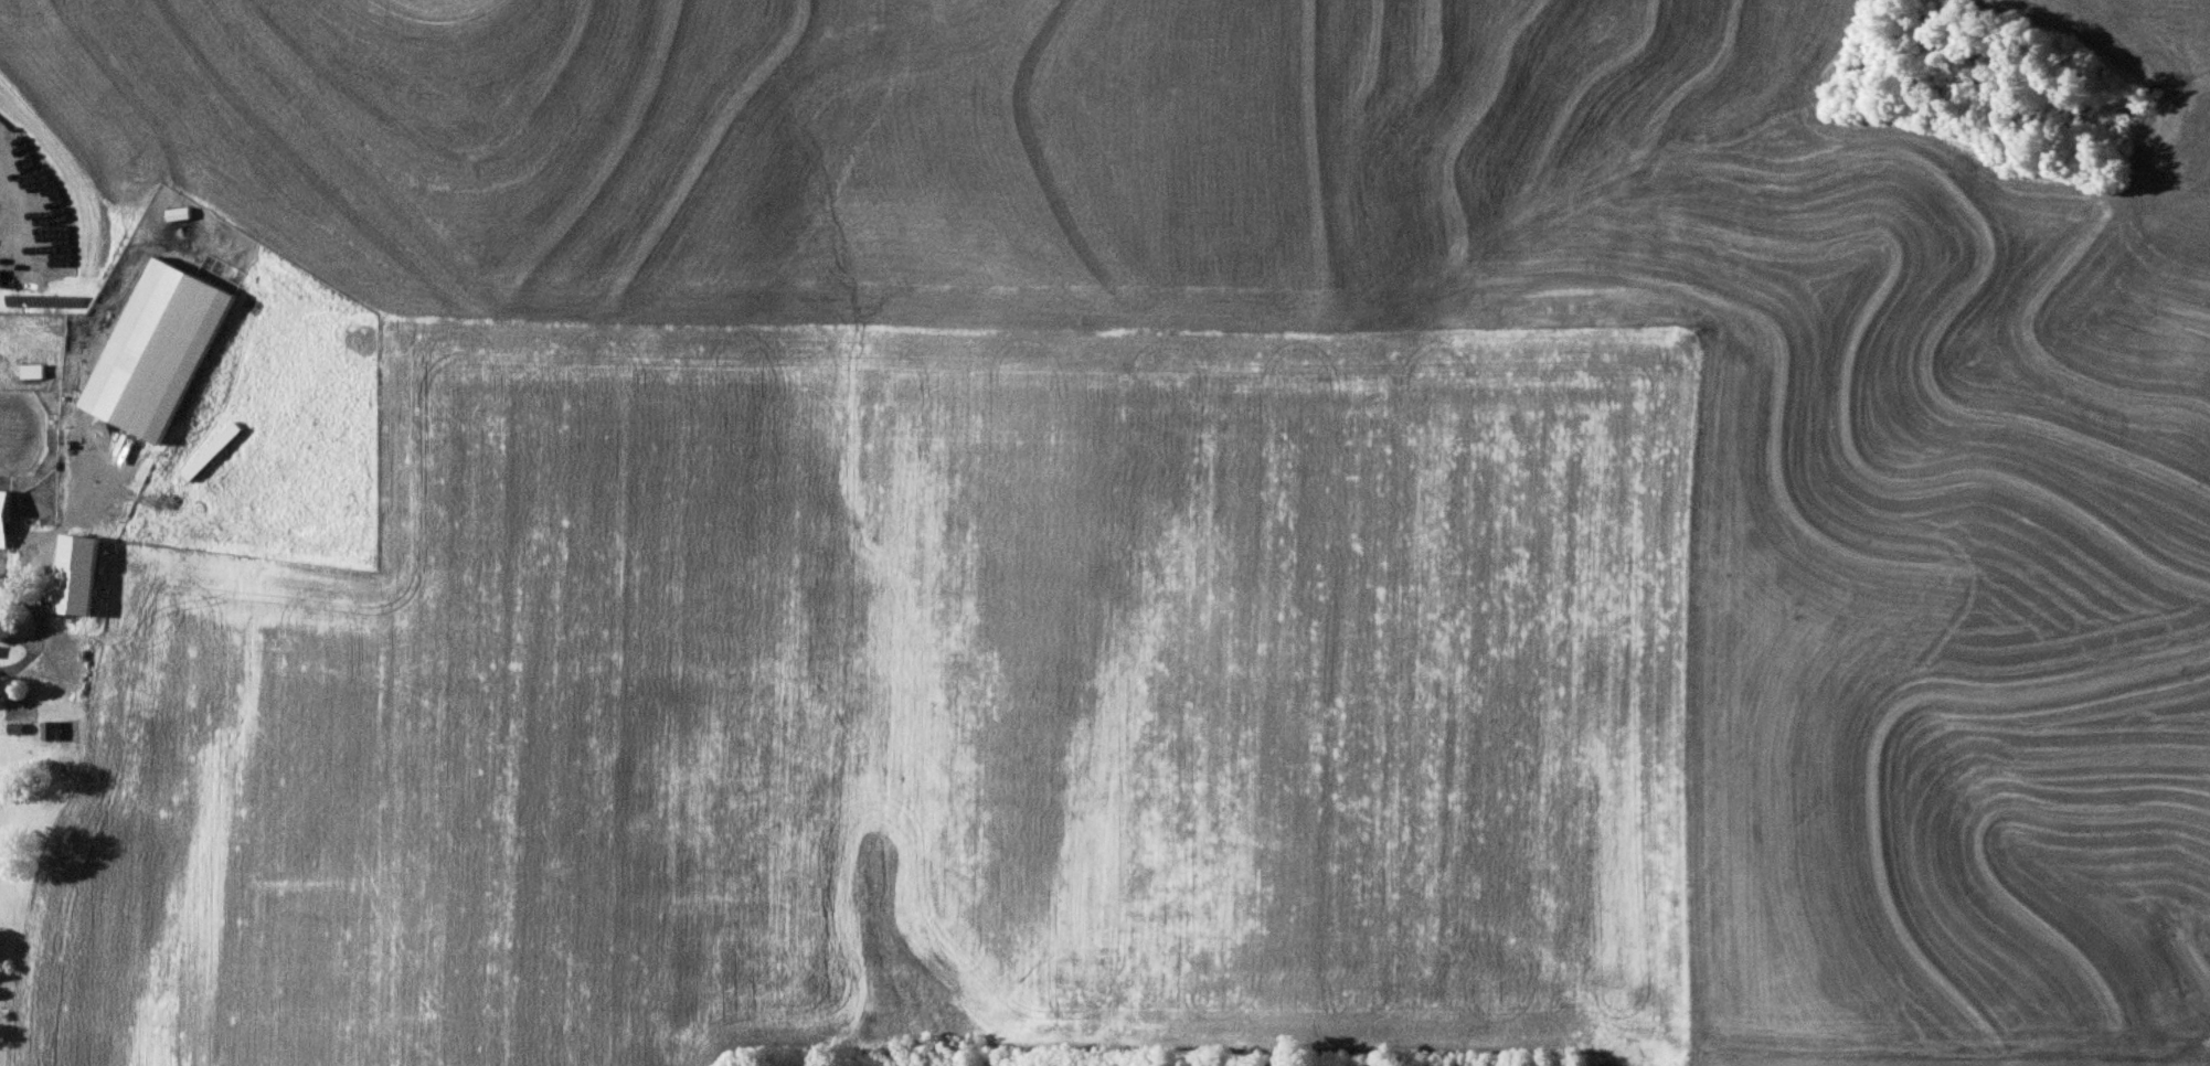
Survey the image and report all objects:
building: (159, 350)
building: (209, 452)
building: (81, 571)
road: (43, 618)
building: (51, 727)
road: (1, 788)

